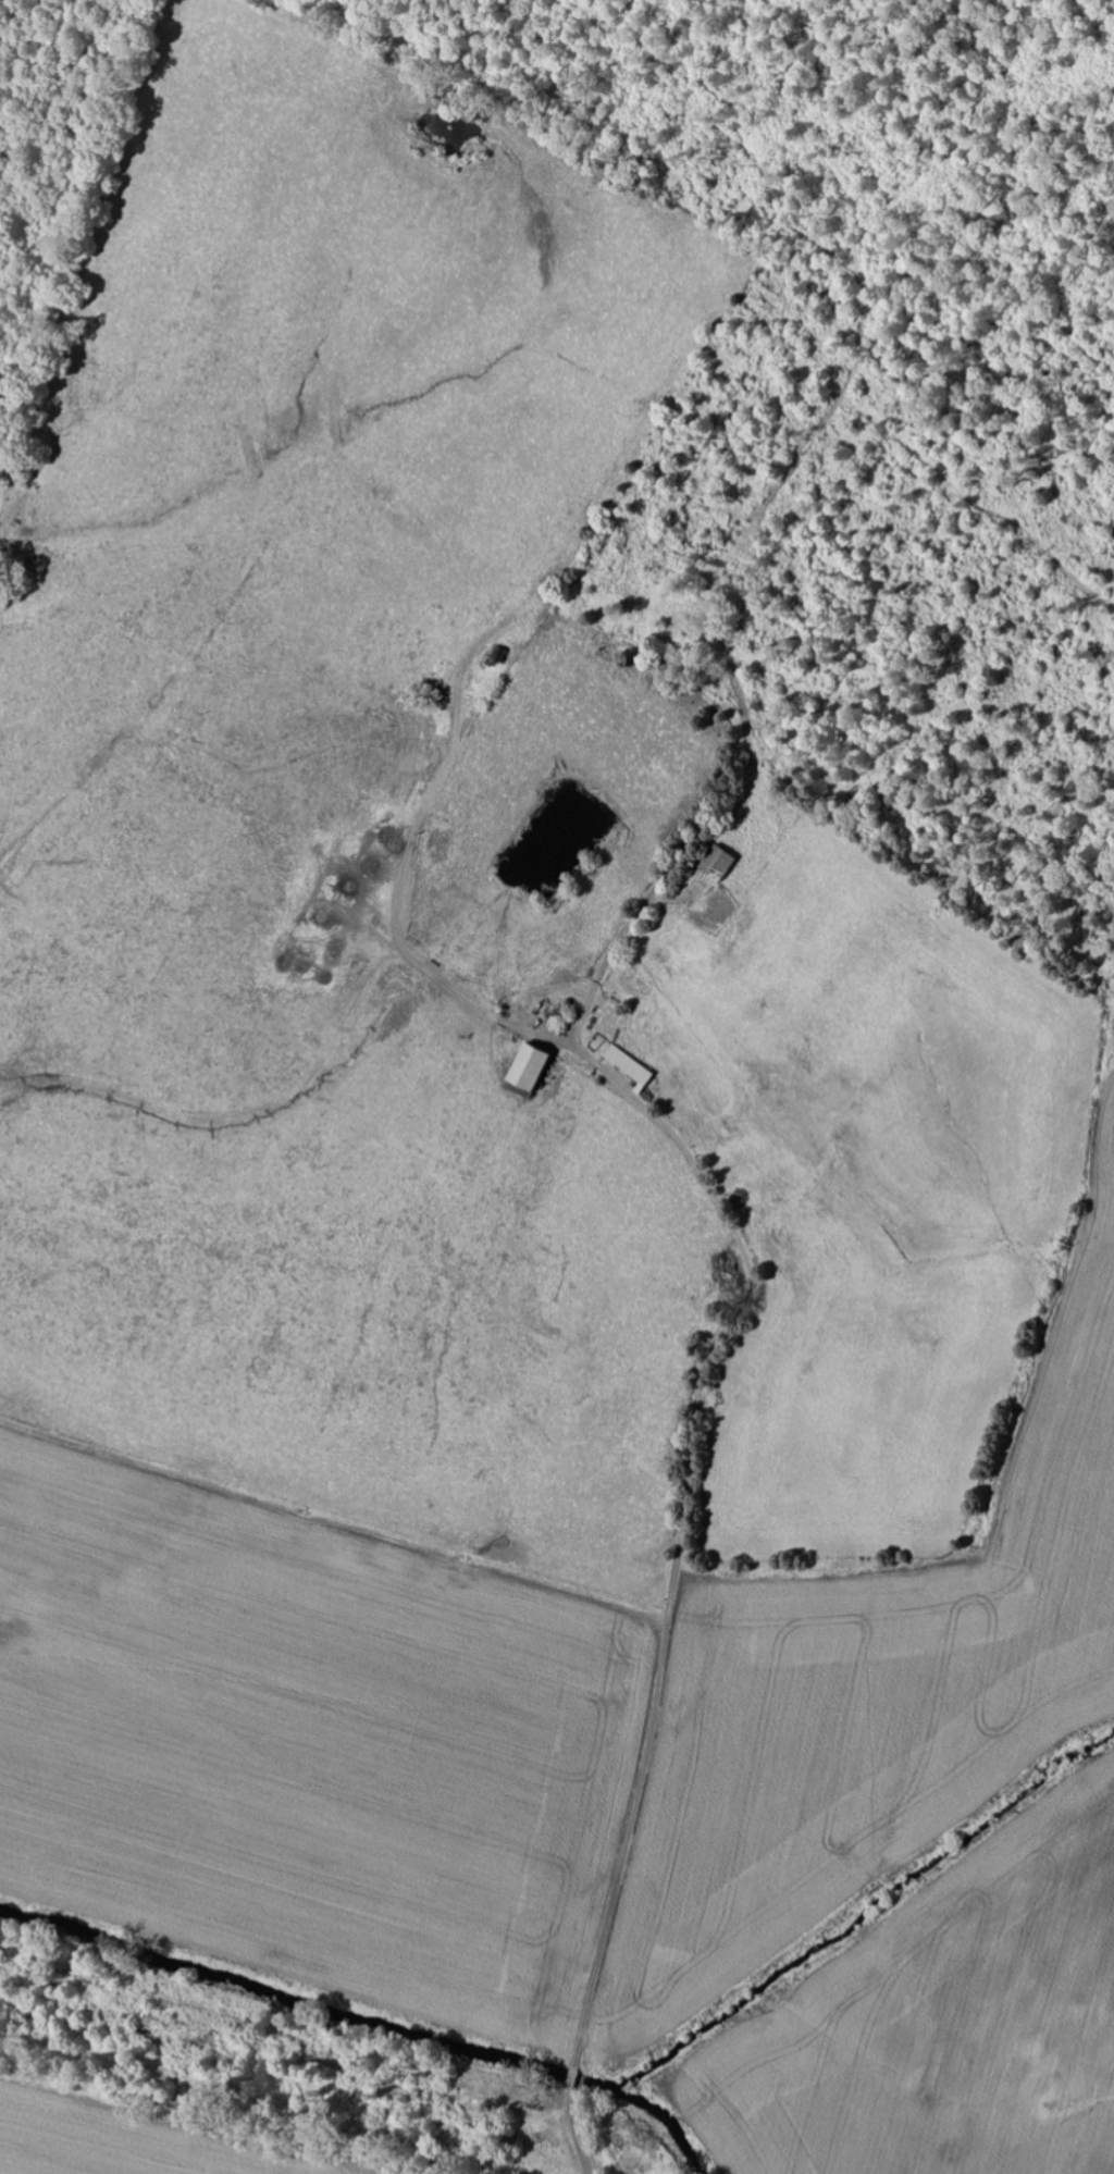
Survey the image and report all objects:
building: (628, 1066)
building: (521, 1069)
road: (715, 1412)

